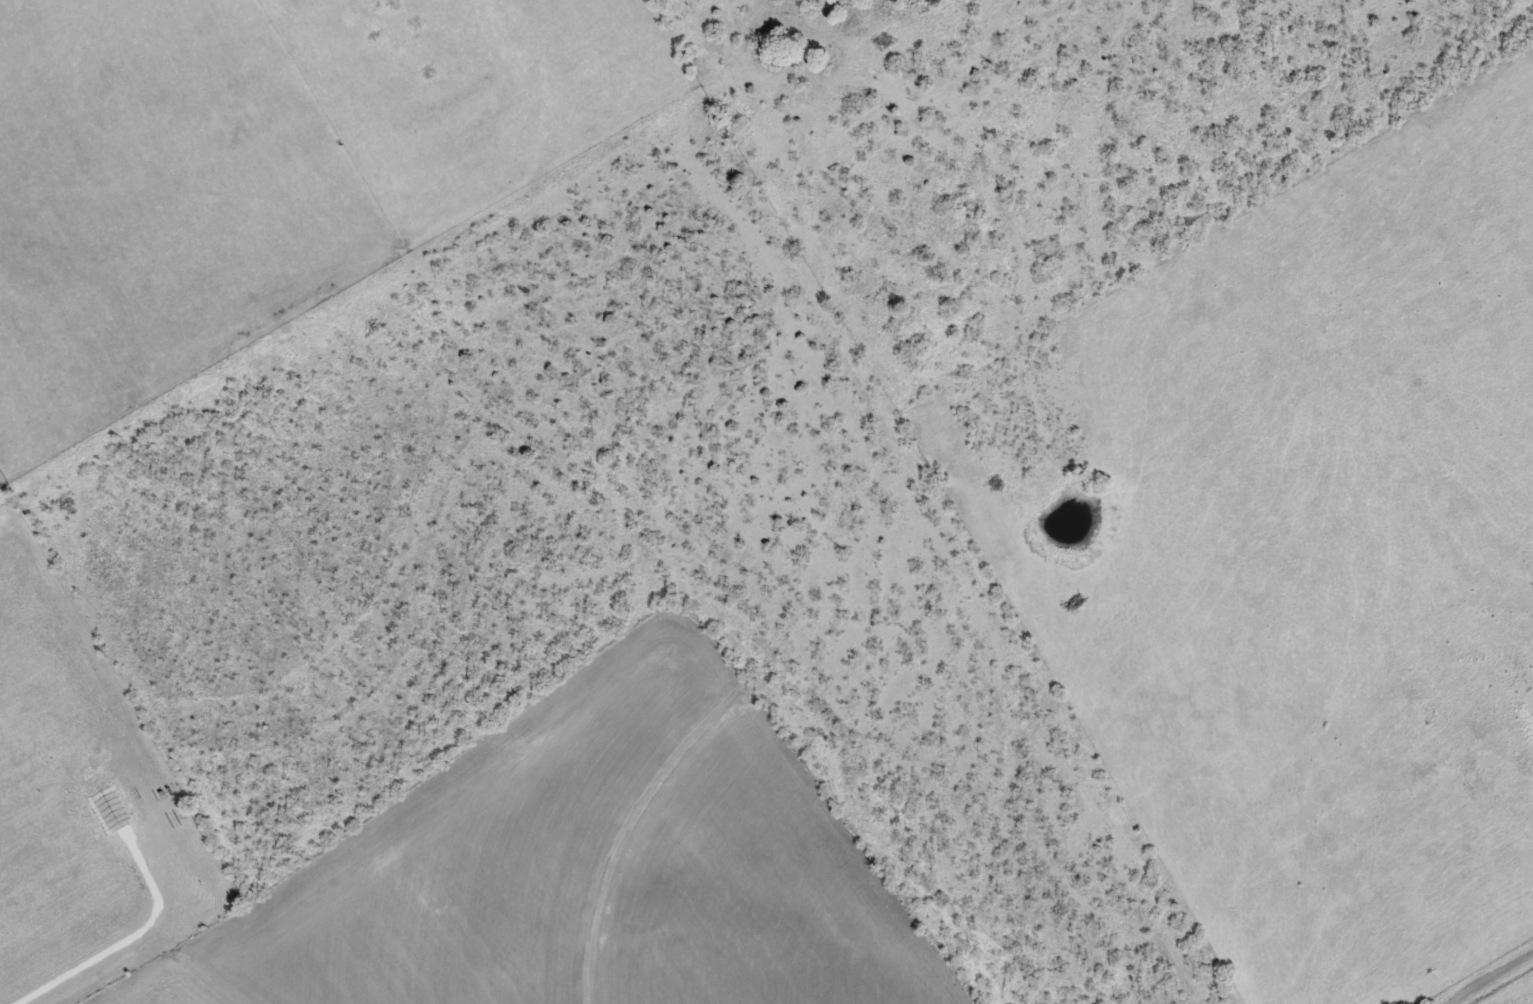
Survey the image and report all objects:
road: (1483, 967)

